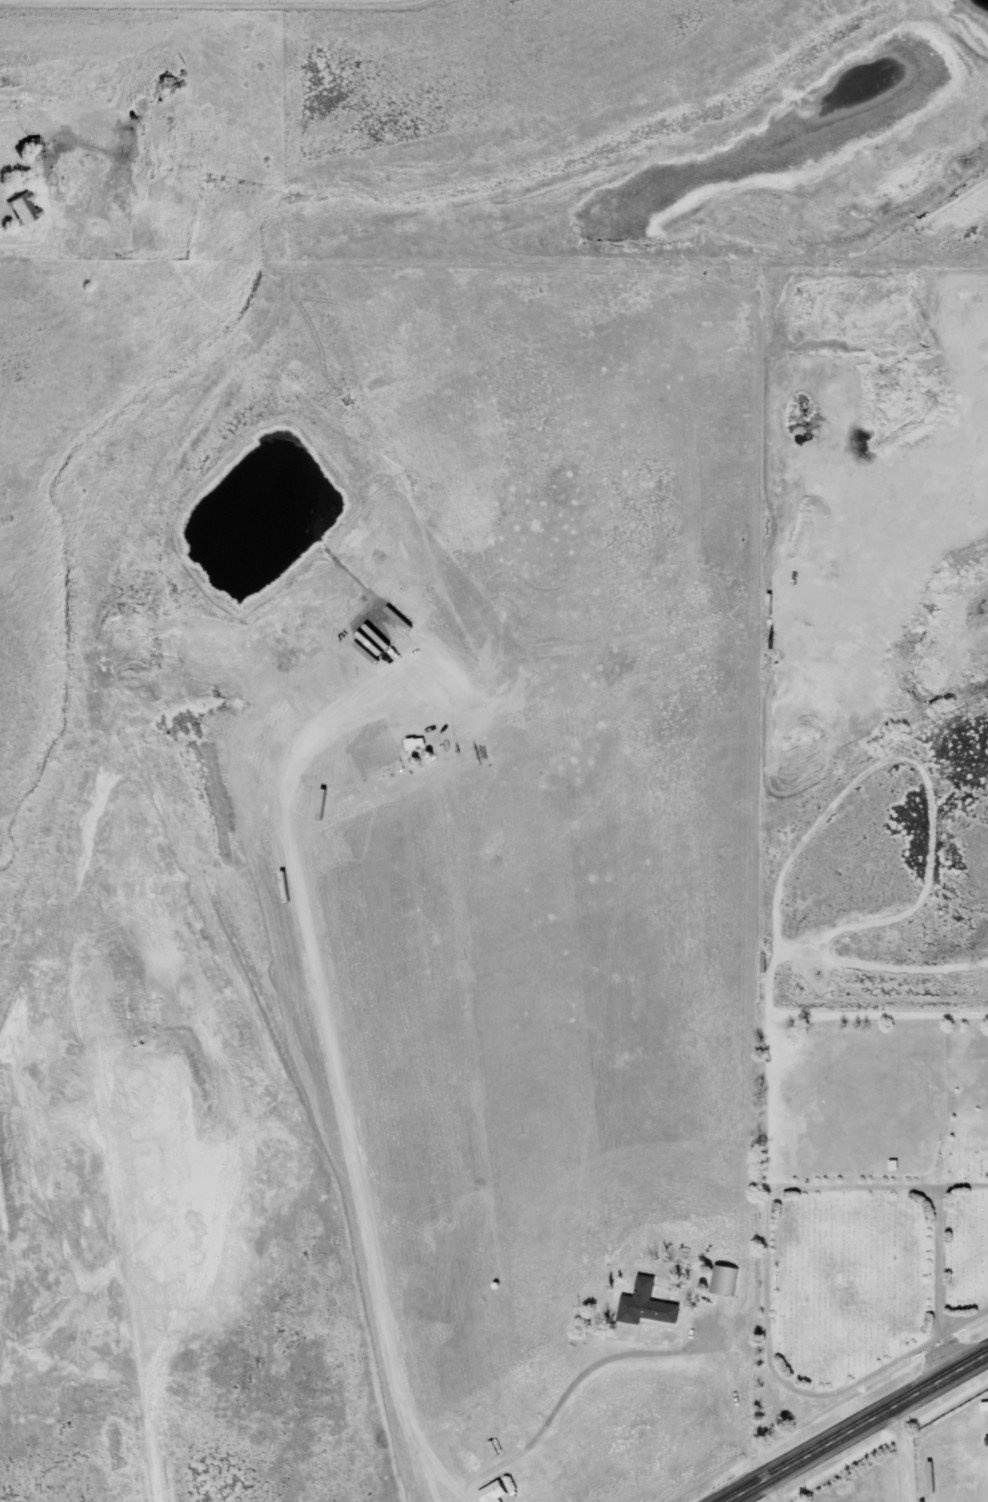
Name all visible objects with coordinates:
building: (24, 208)
park: (865, 1201)
building: (722, 1278)
building: (645, 1304)
road: (851, 1424)
road: (902, 1451)
road: (770, 1488)
building: (493, 1491)

